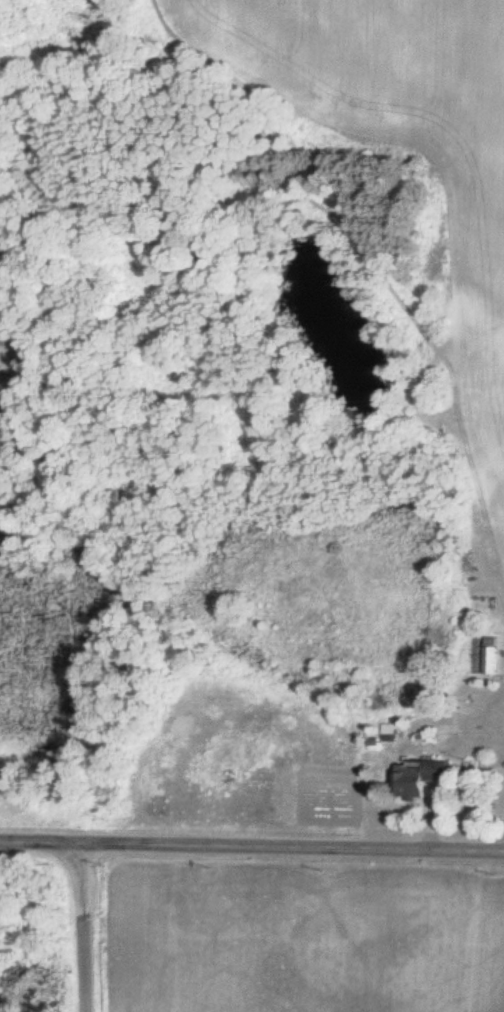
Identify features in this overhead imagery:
building: (491, 654)
building: (419, 776)
road: (252, 845)
road: (85, 927)

